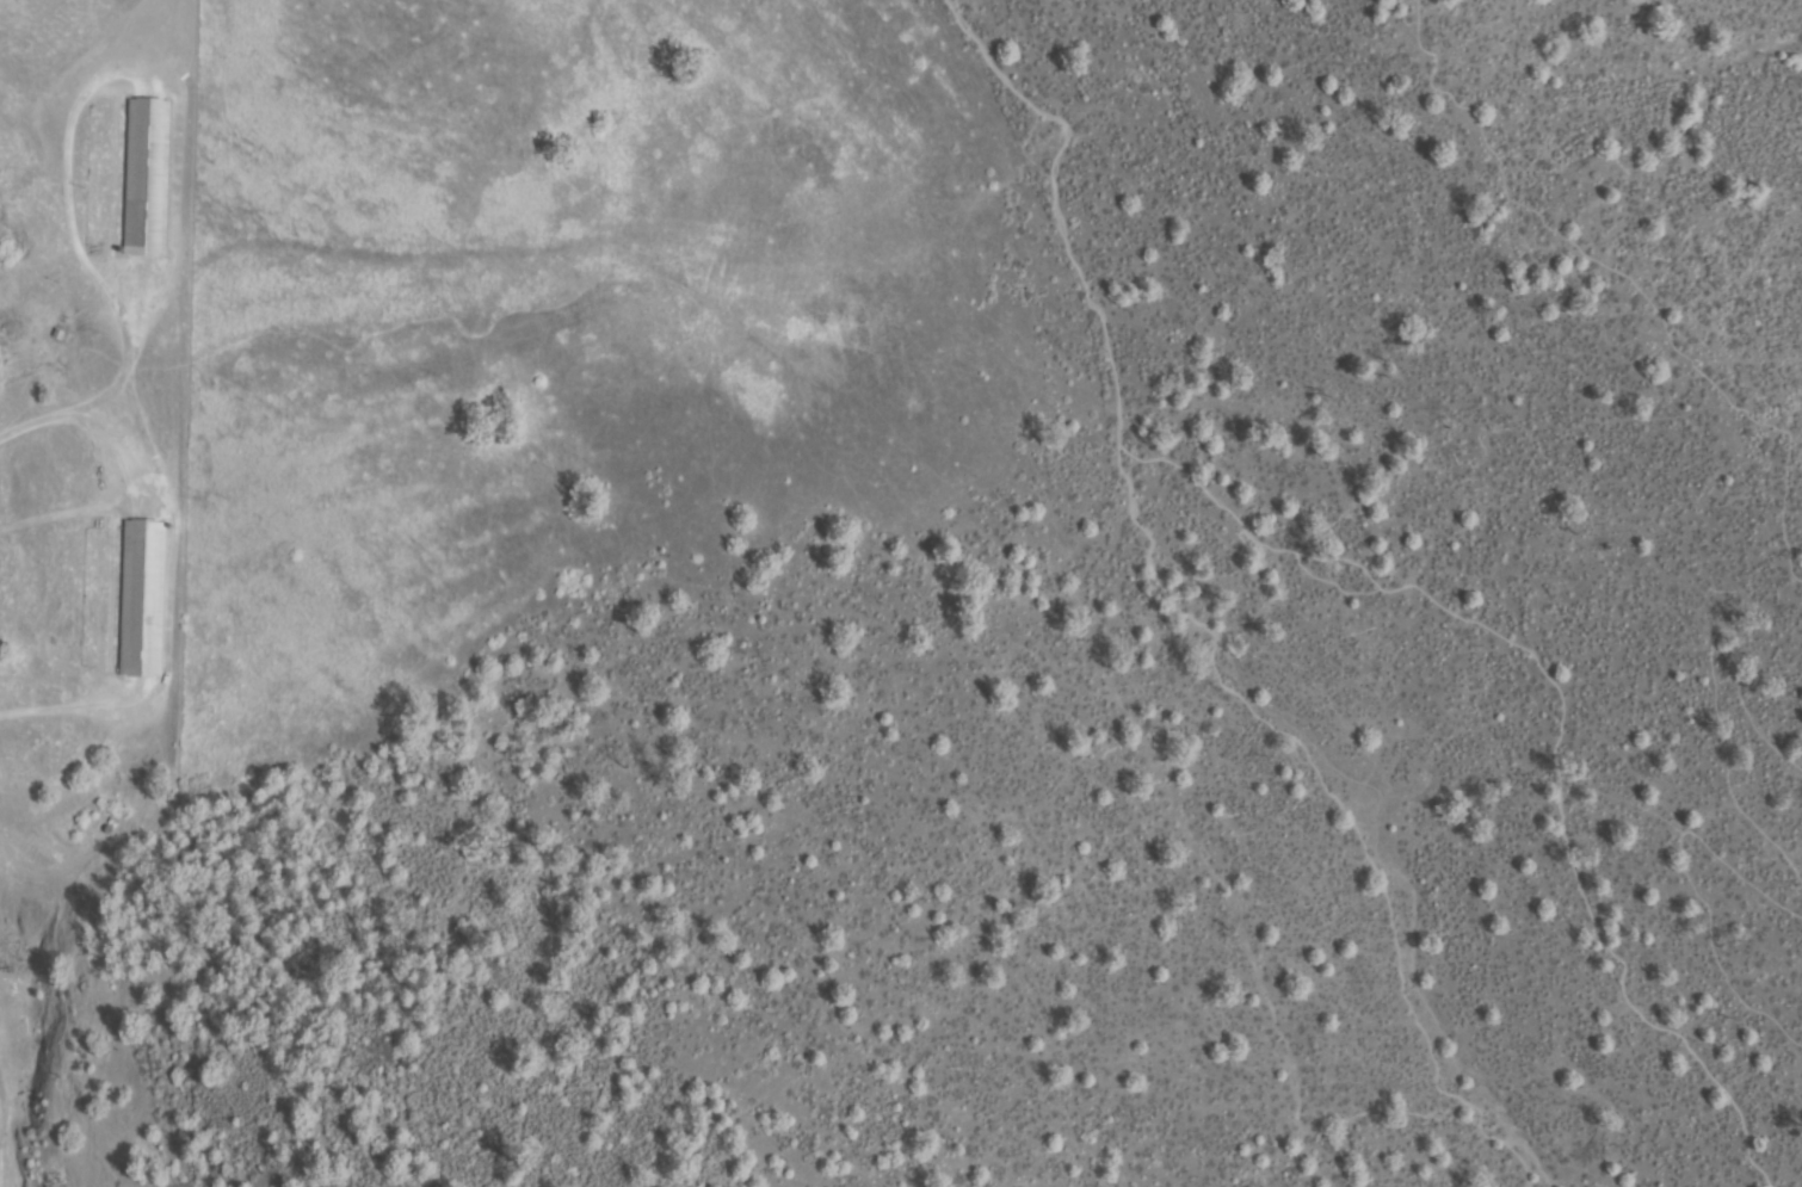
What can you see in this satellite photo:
building: (146, 178)
road: (1057, 202)
road: (1621, 280)
building: (58, 335)
building: (142, 599)
road: (1710, 661)
road: (1557, 719)
road: (1339, 809)
storage tank: (107, 830)
road: (1698, 872)

